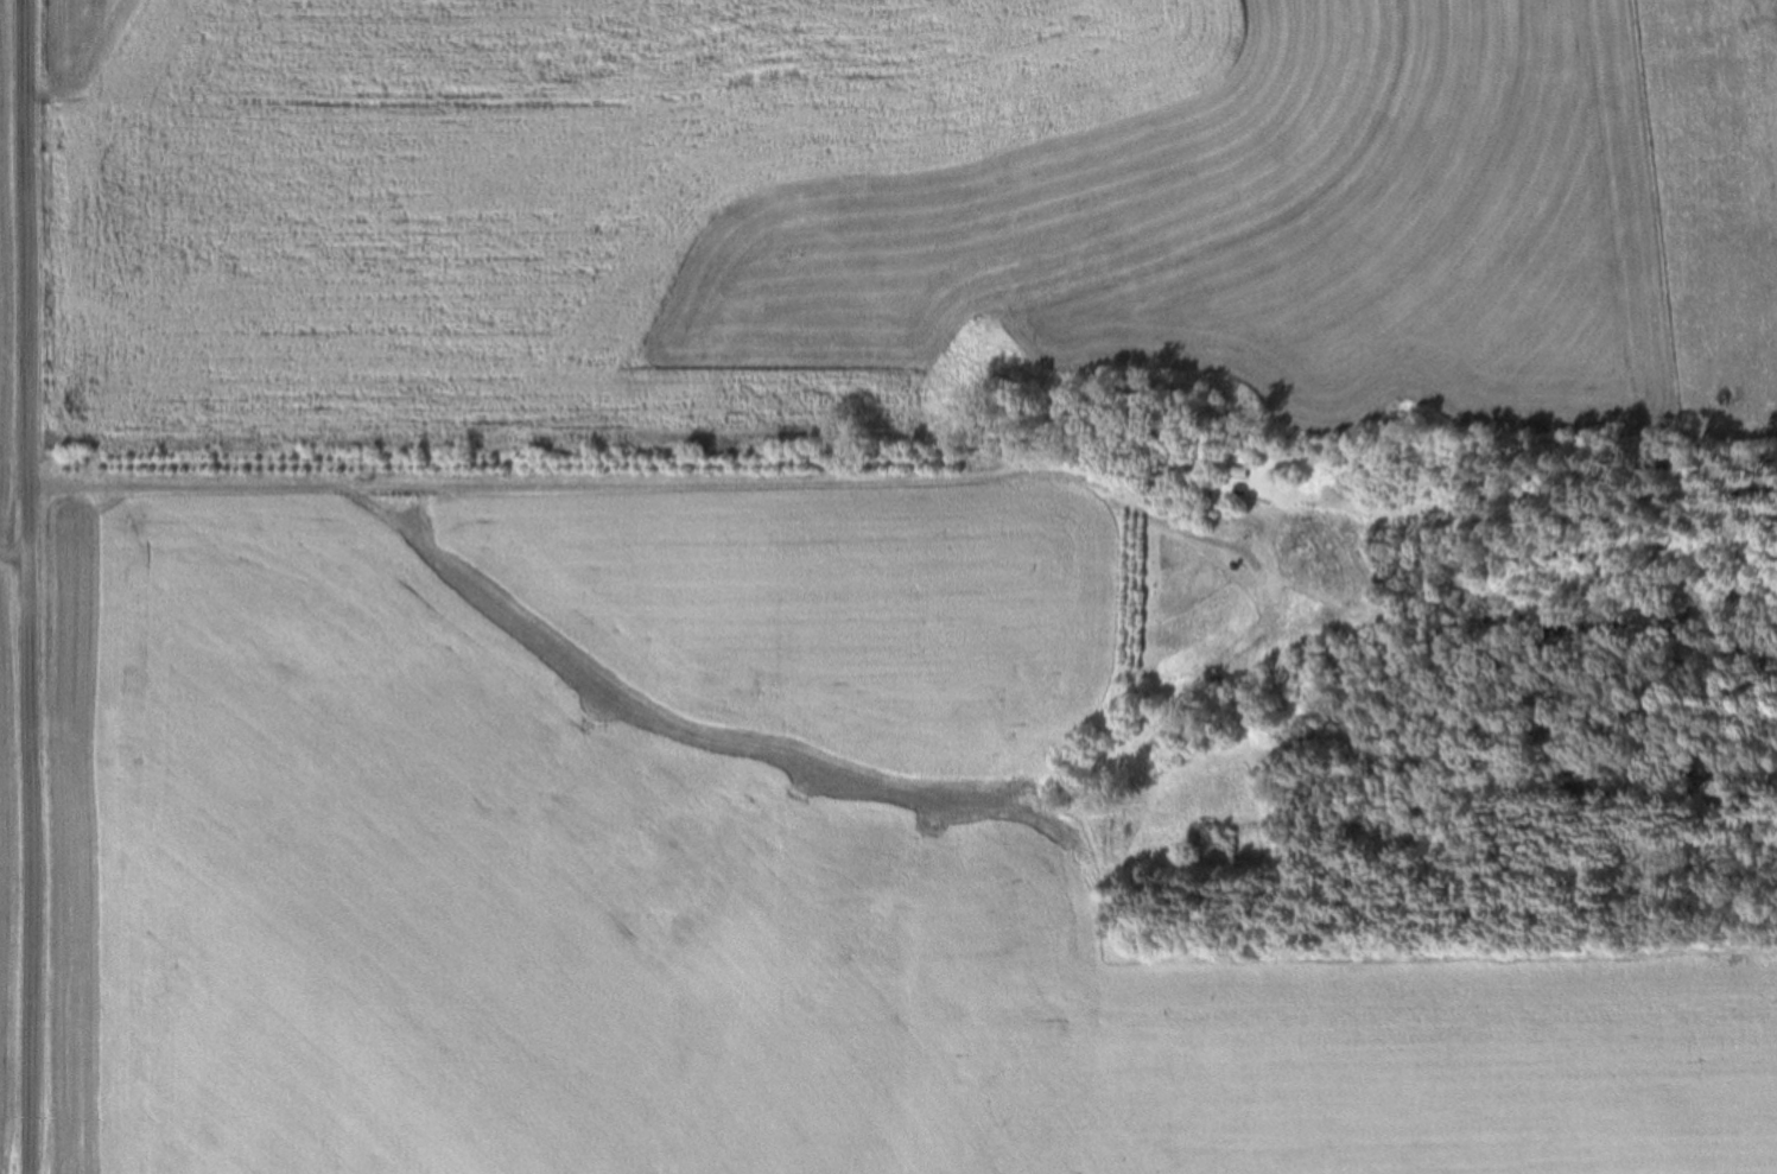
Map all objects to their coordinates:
road: (668, 483)
road: (13, 557)
road: (26, 586)

